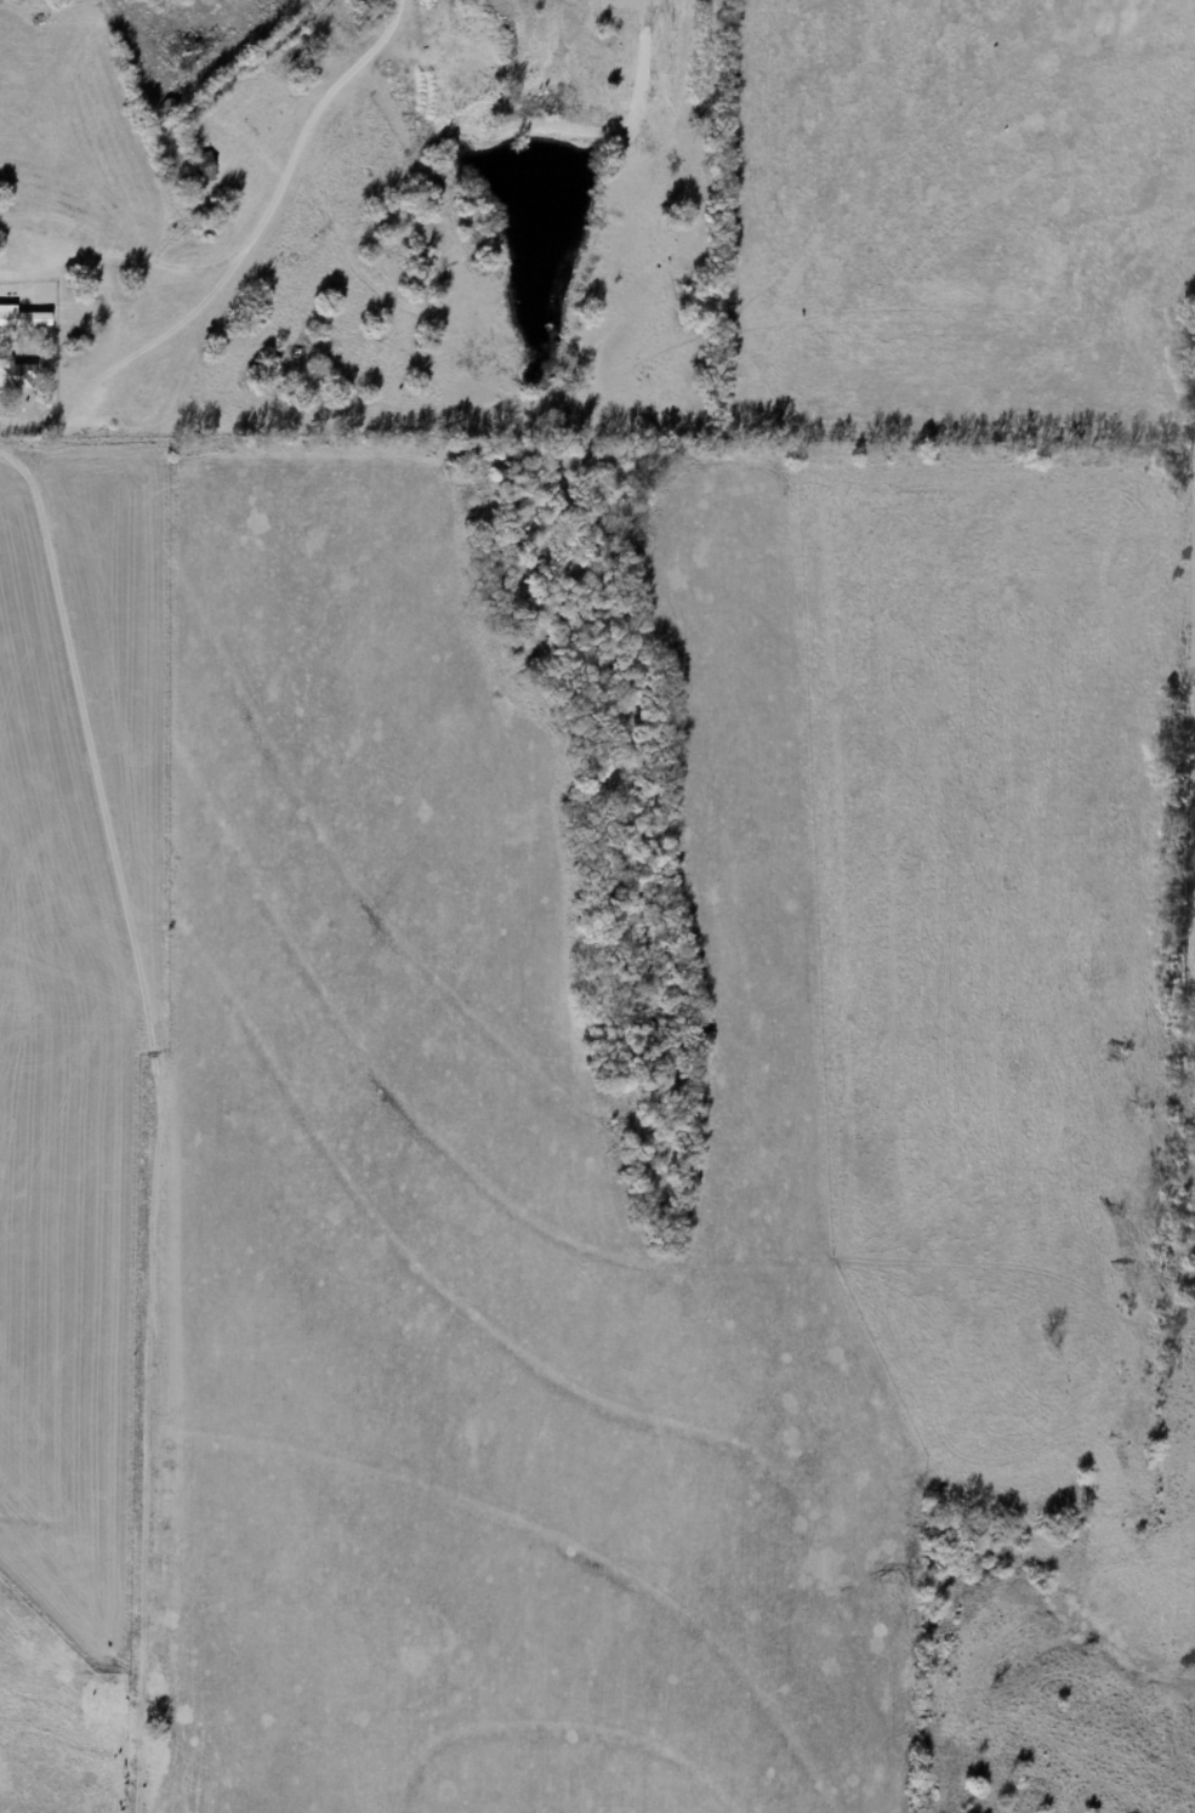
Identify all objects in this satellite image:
building: (200, 170)
building: (13, 377)
road: (86, 846)

